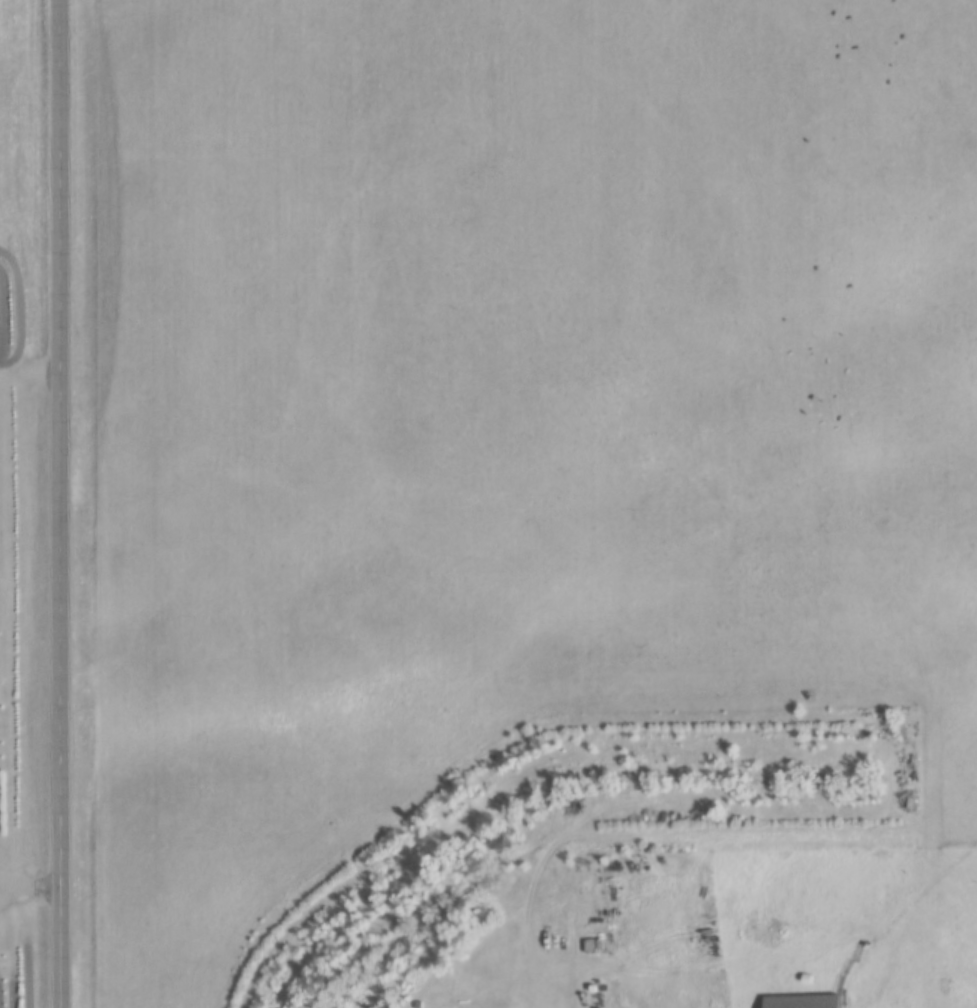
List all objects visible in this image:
road: (61, 504)
road: (723, 837)
road: (31, 873)
building: (809, 1002)

